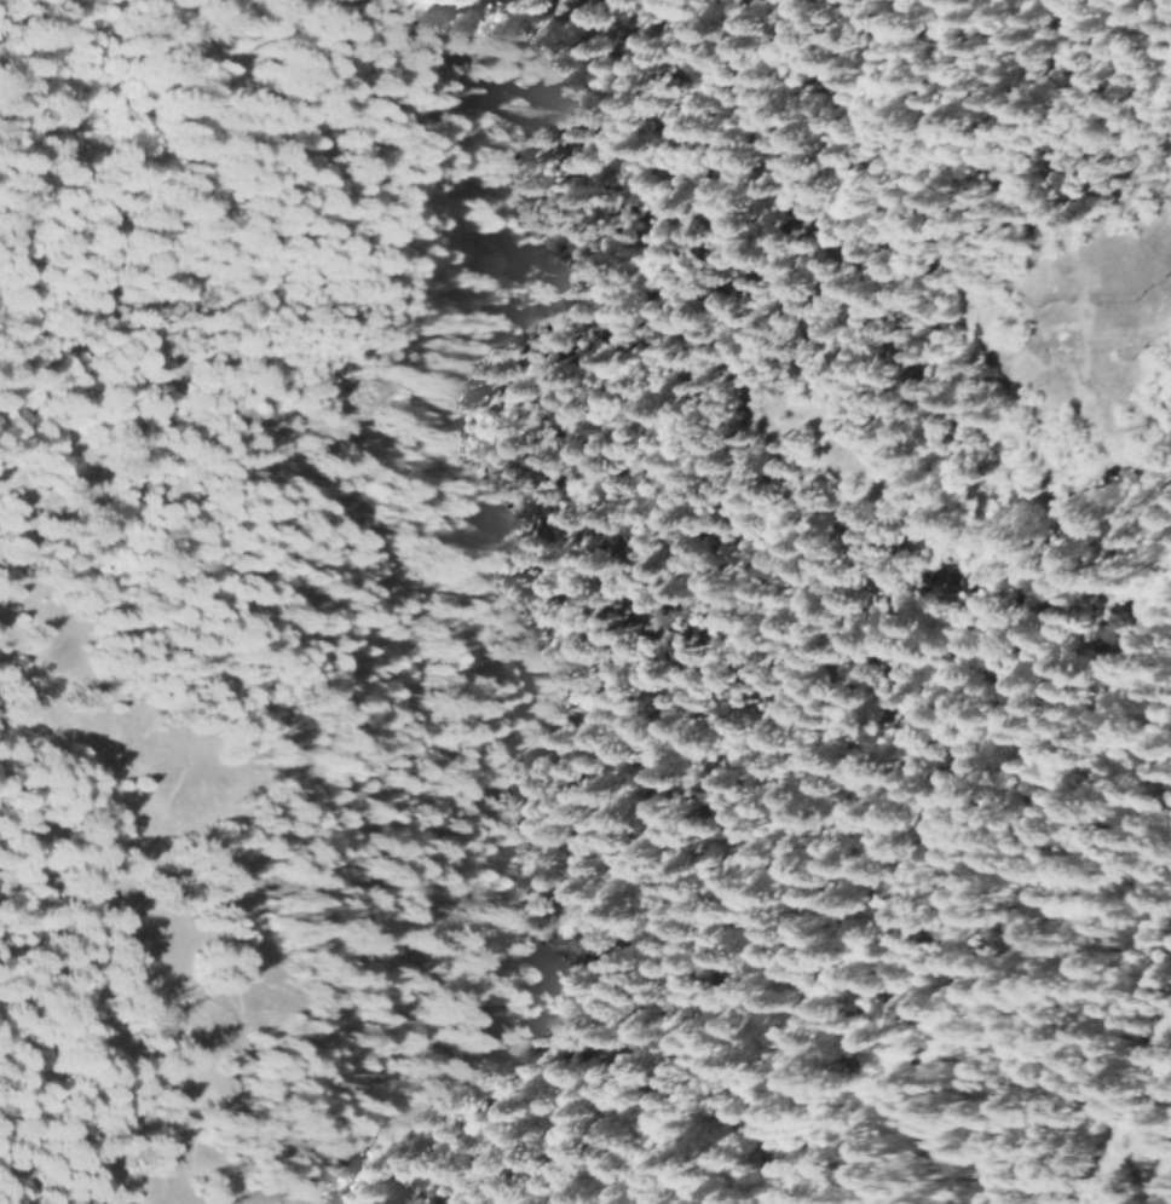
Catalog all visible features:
road: (1060, 682)

